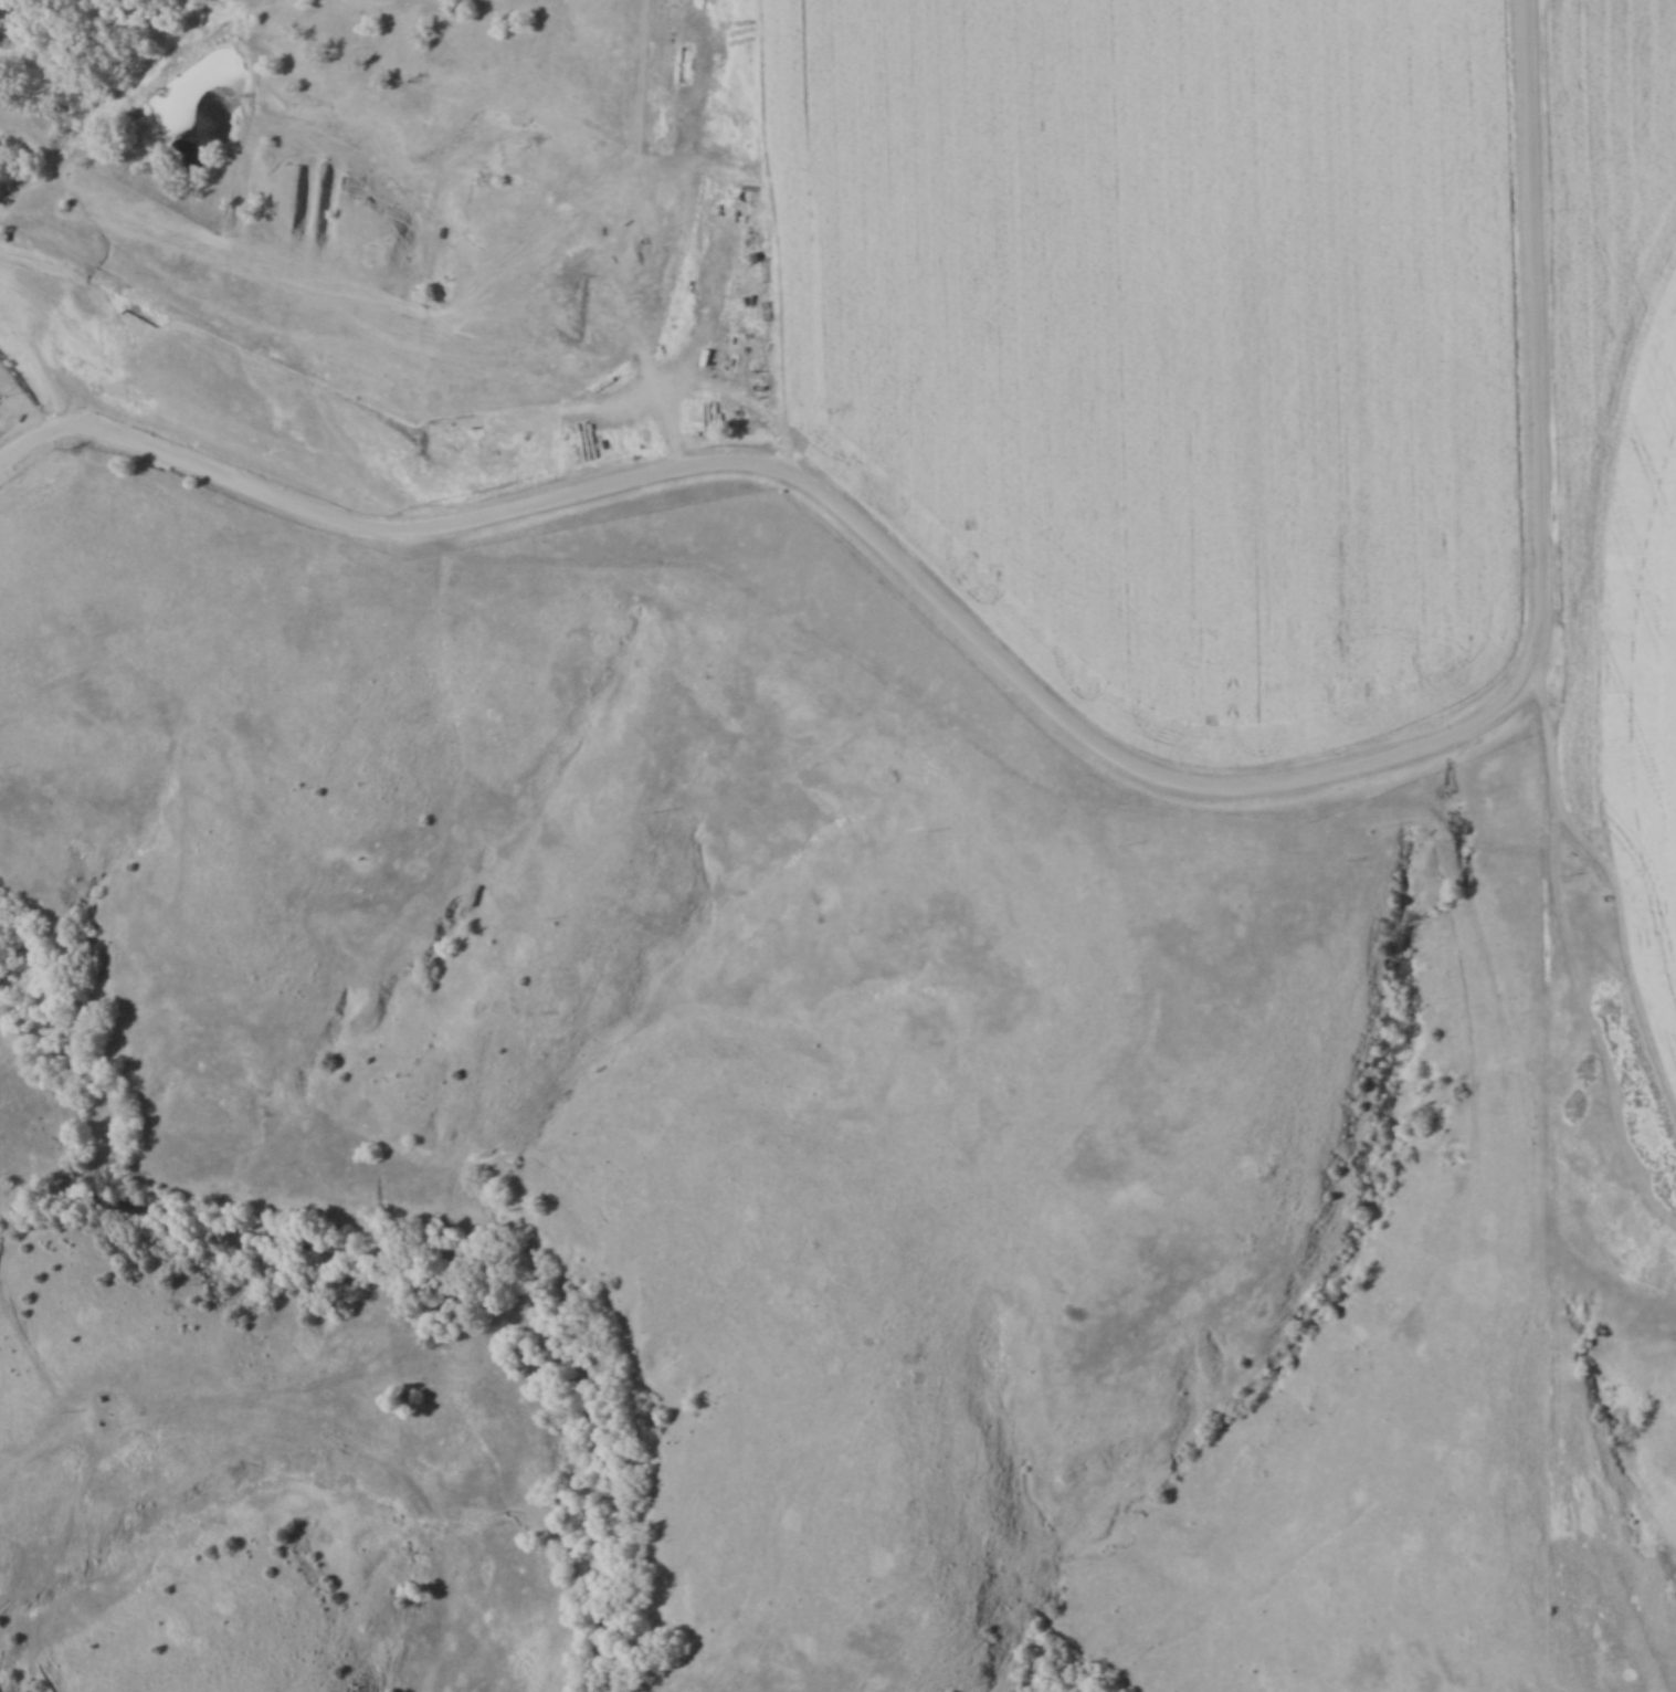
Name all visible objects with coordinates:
road: (32, 386)
road: (1062, 719)

